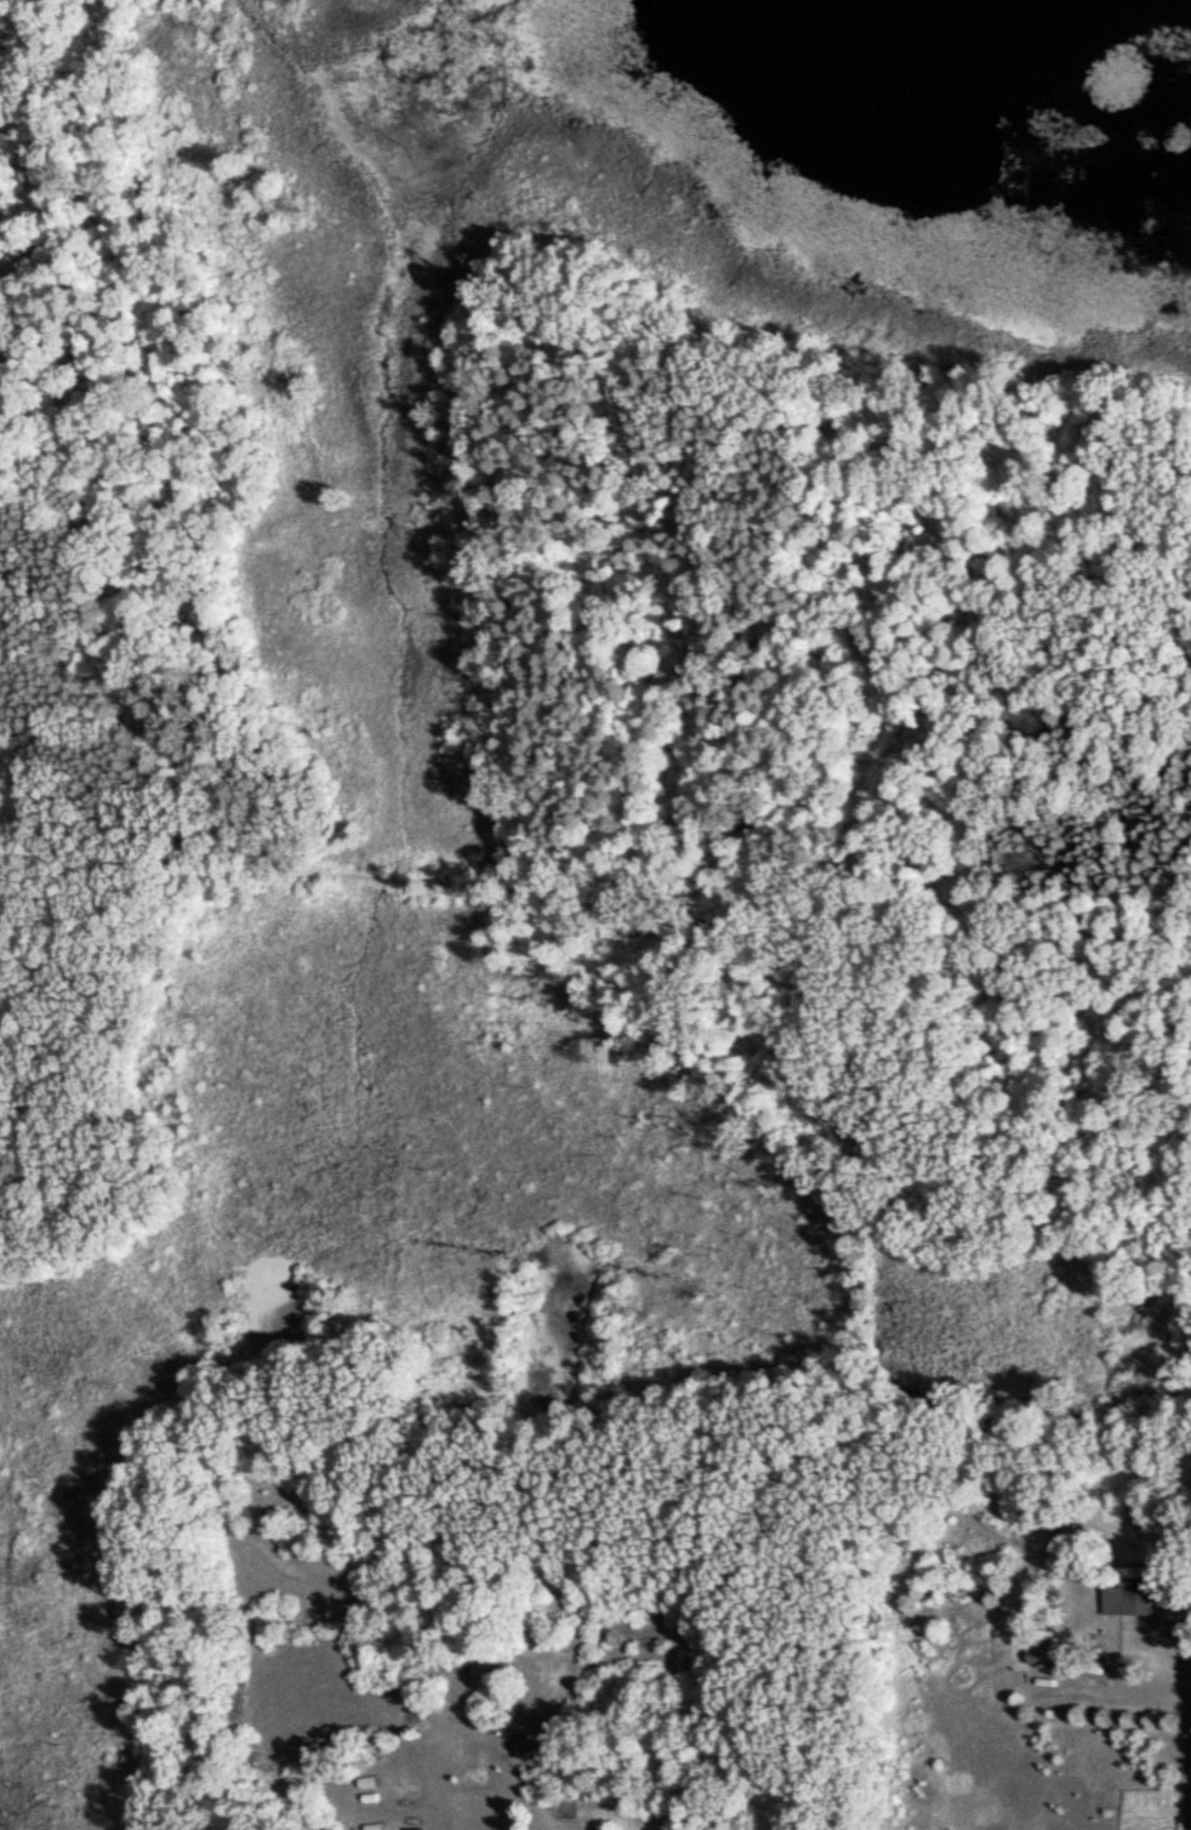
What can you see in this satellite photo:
building: (1132, 1591)
building: (1038, 1654)
road: (1133, 1675)
building: (534, 1743)

